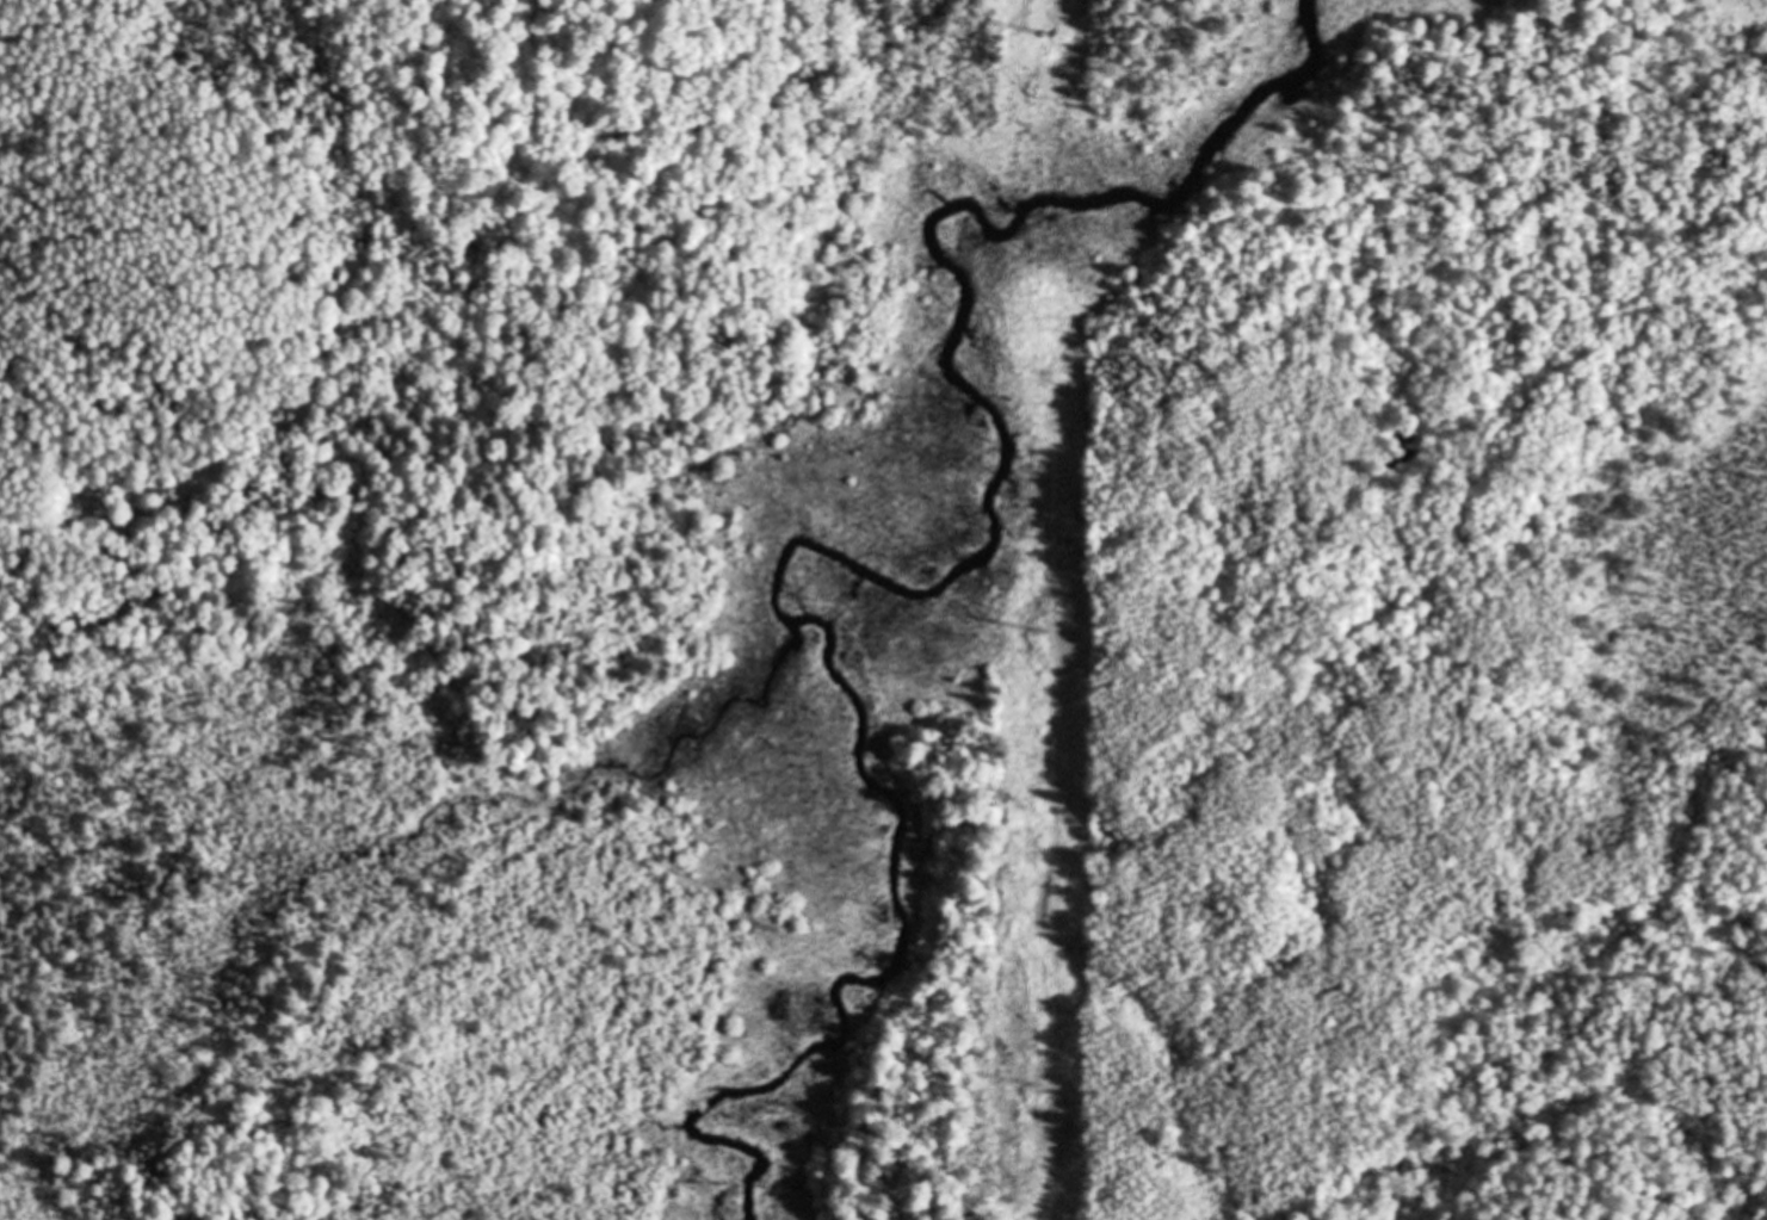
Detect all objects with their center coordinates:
power tower: (1044, 44)
river: (883, 581)
power tower: (1044, 634)
power tower: (1044, 1086)

